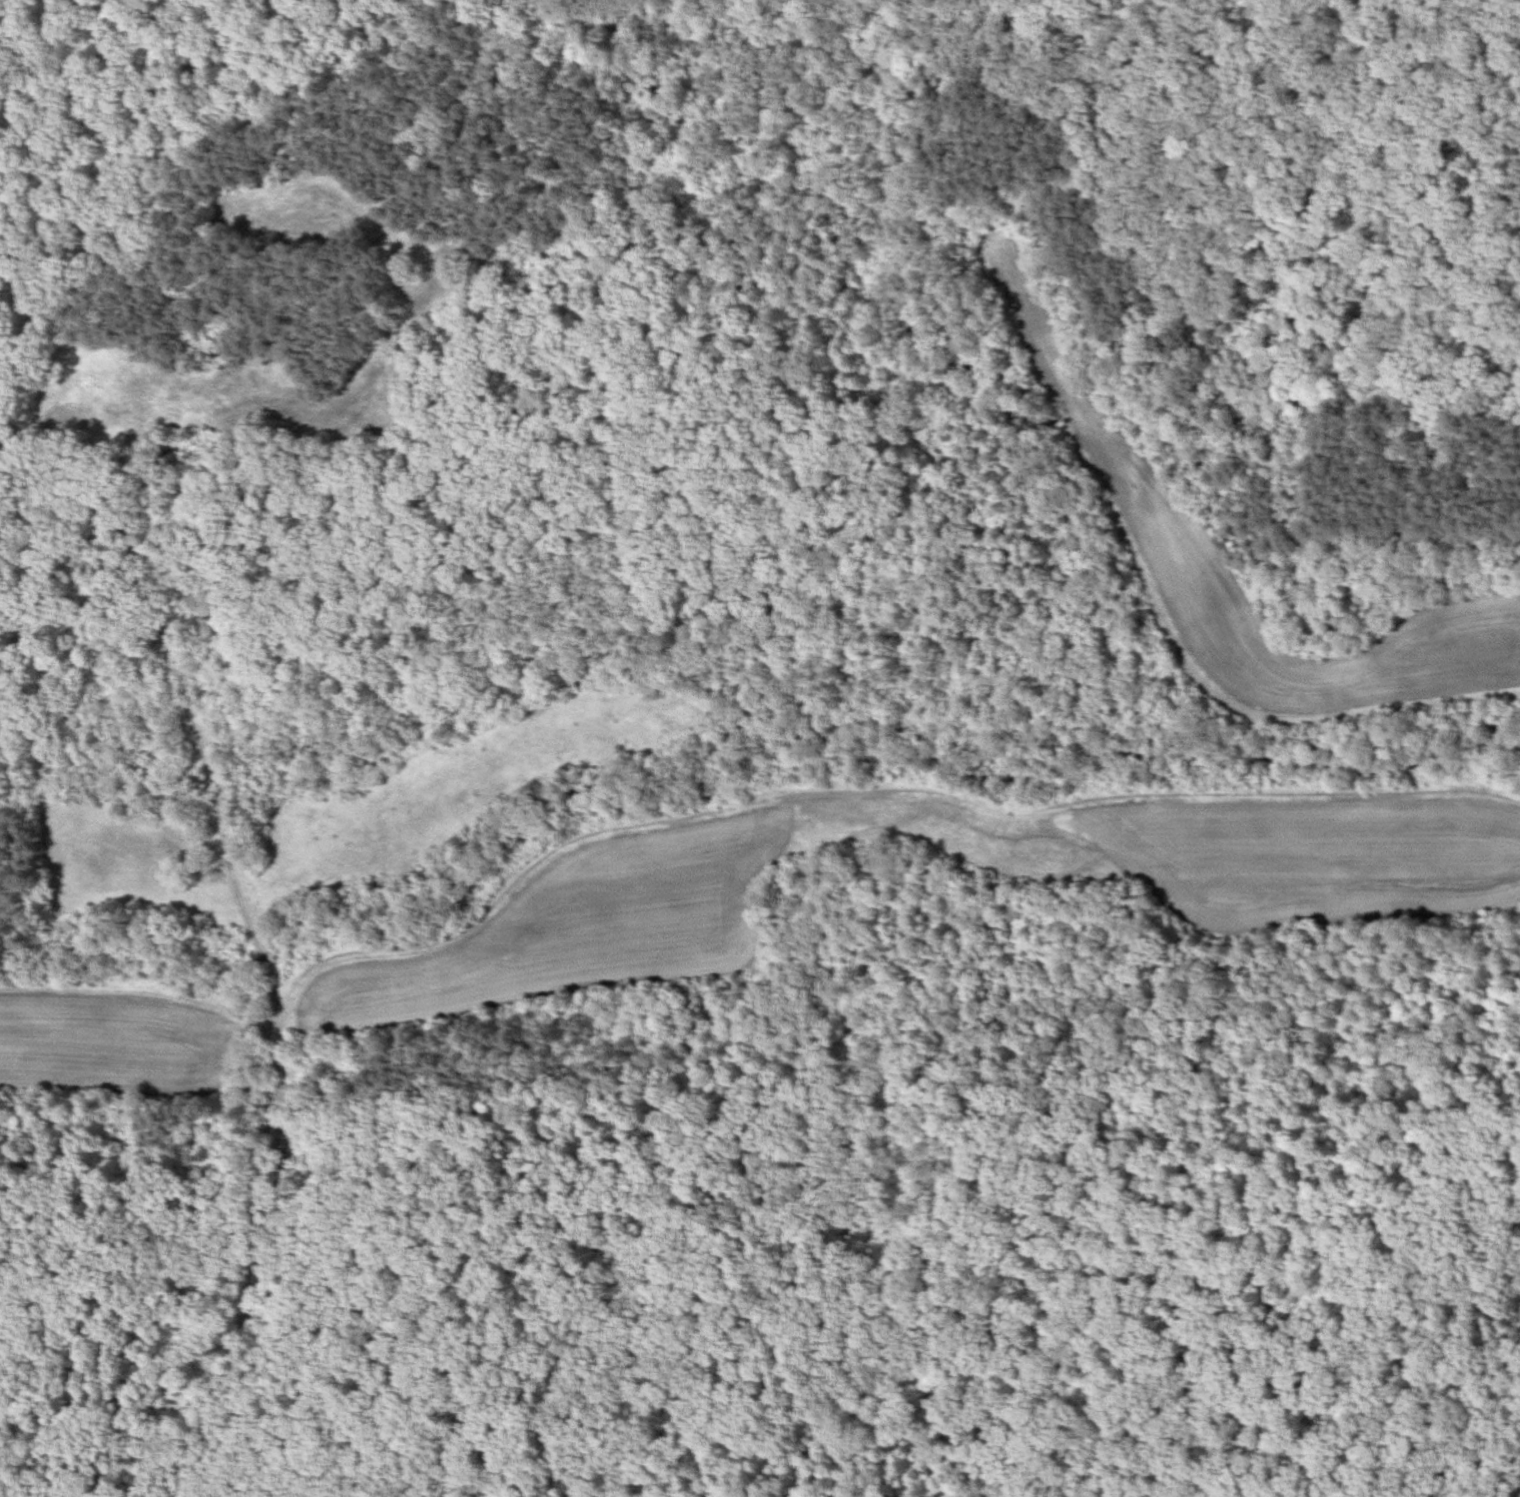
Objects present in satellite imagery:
road: (259, 947)

